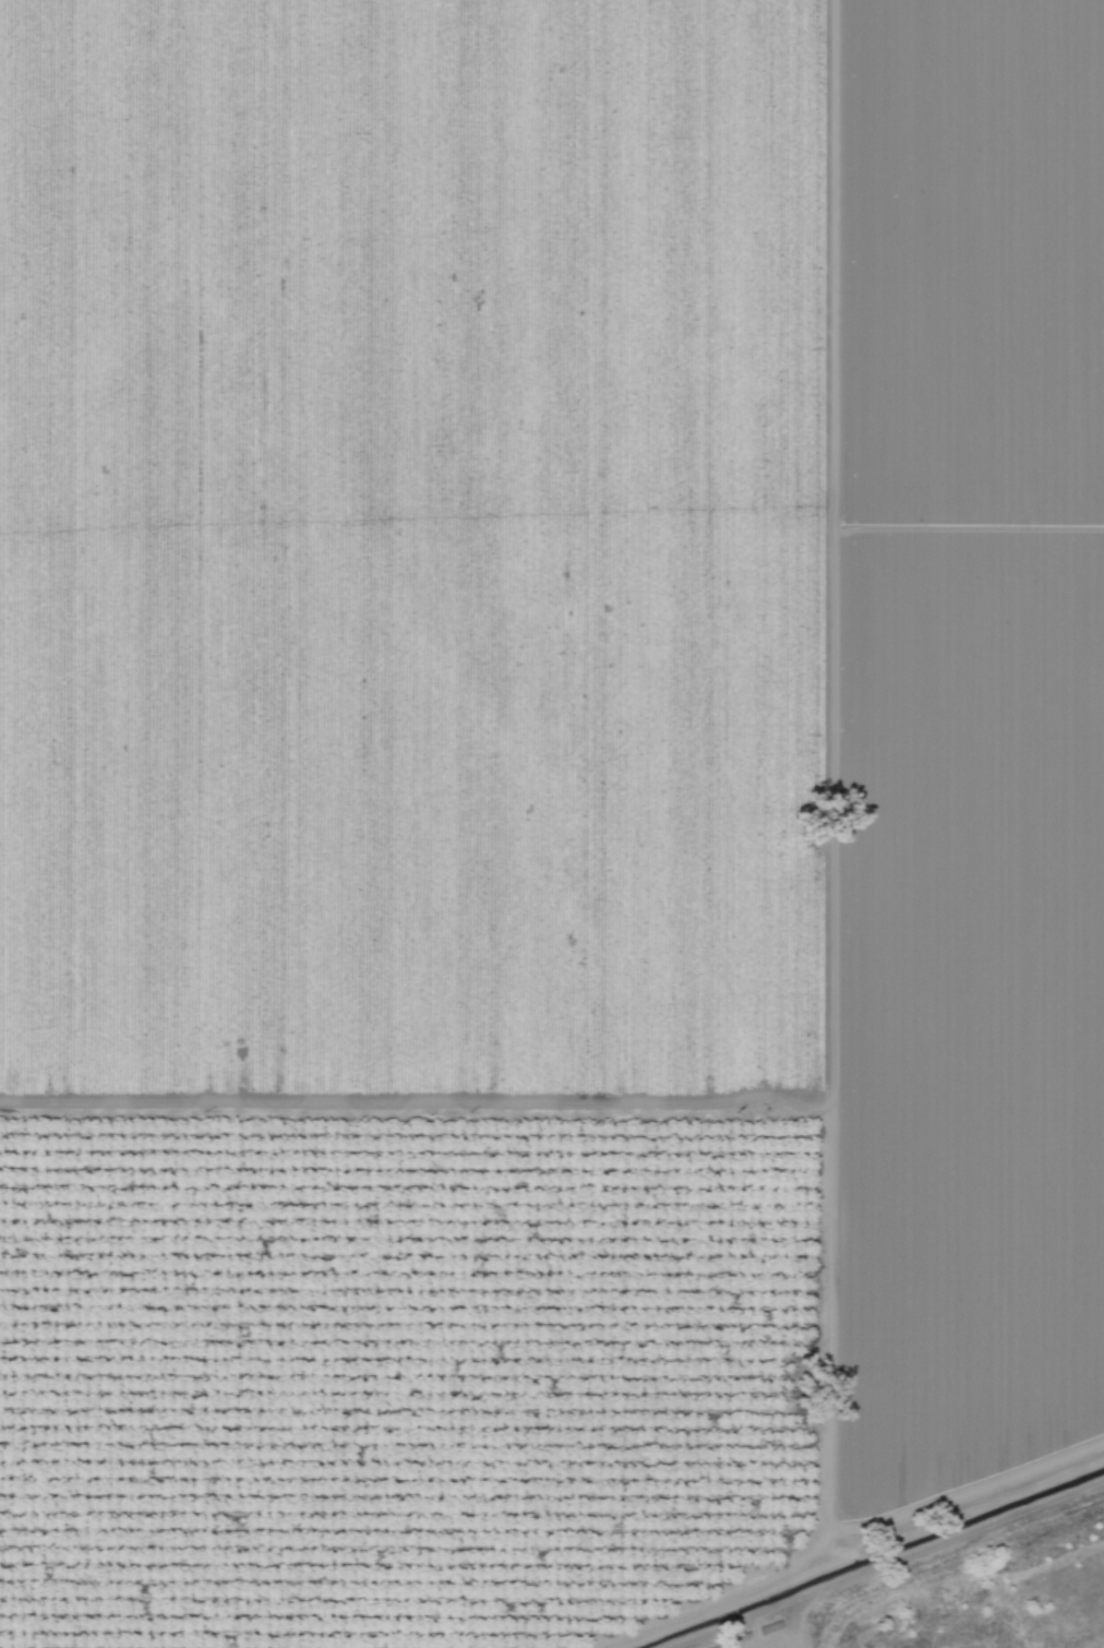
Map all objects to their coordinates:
road: (831, 763)
road: (963, 1497)

